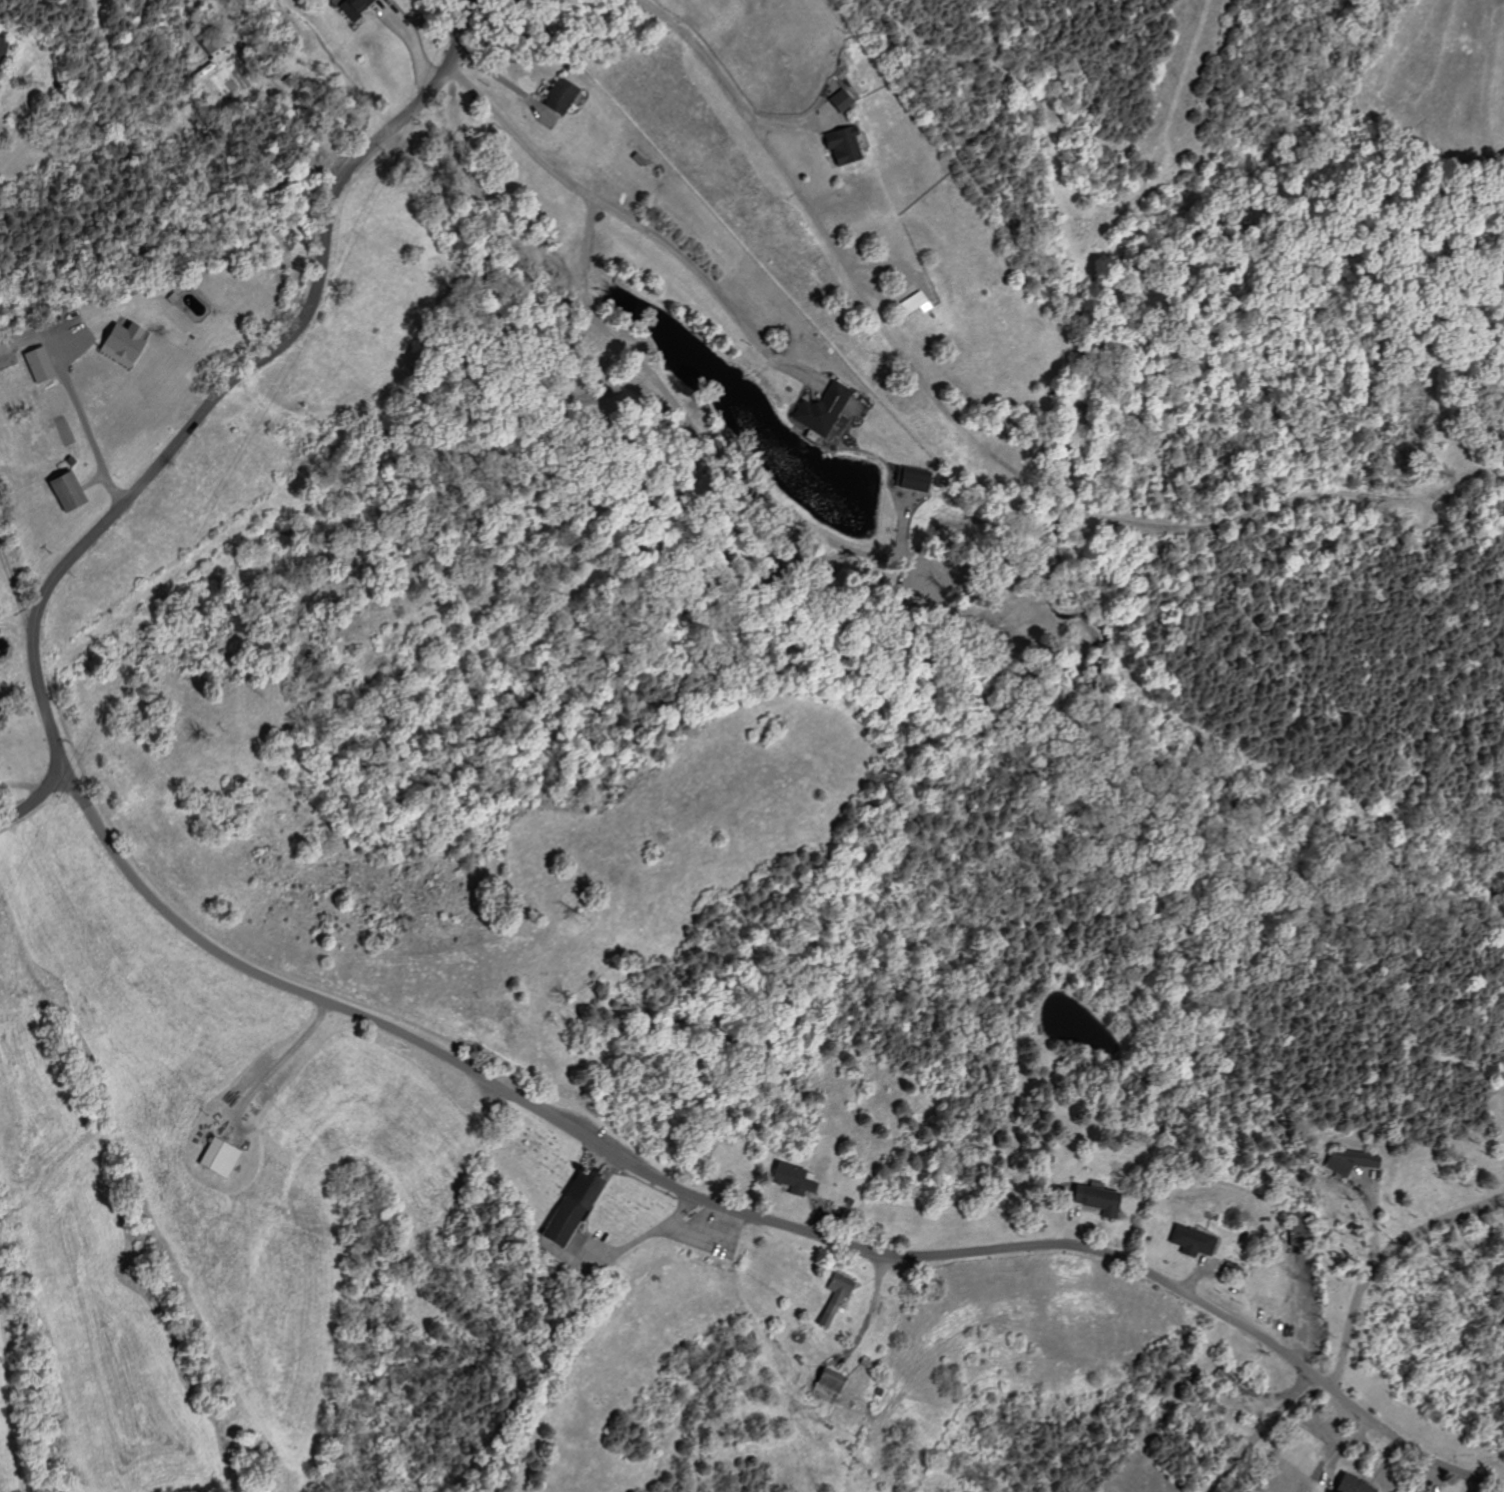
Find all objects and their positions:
building: (358, 8)
building: (5, 52)
building: (557, 96)
building: (837, 100)
road: (750, 123)
road: (786, 123)
building: (838, 144)
road: (173, 233)
road: (911, 287)
road: (713, 289)
building: (911, 303)
building: (116, 343)
building: (33, 363)
road: (647, 369)
road: (230, 382)
building: (818, 409)
road: (85, 416)
building: (906, 478)
building: (58, 489)
road: (23, 784)
road: (33, 799)
building: (215, 1158)
building: (1345, 1160)
park: (531, 1164)
building: (789, 1178)
building: (1092, 1200)
park: (629, 1206)
building: (563, 1211)
road: (746, 1215)
building: (1289, 1226)
building: (1187, 1241)
road: (1375, 1256)
building: (832, 1298)
road: (1301, 1310)
building: (824, 1380)
road: (1259, 1434)
building: (1347, 1485)

